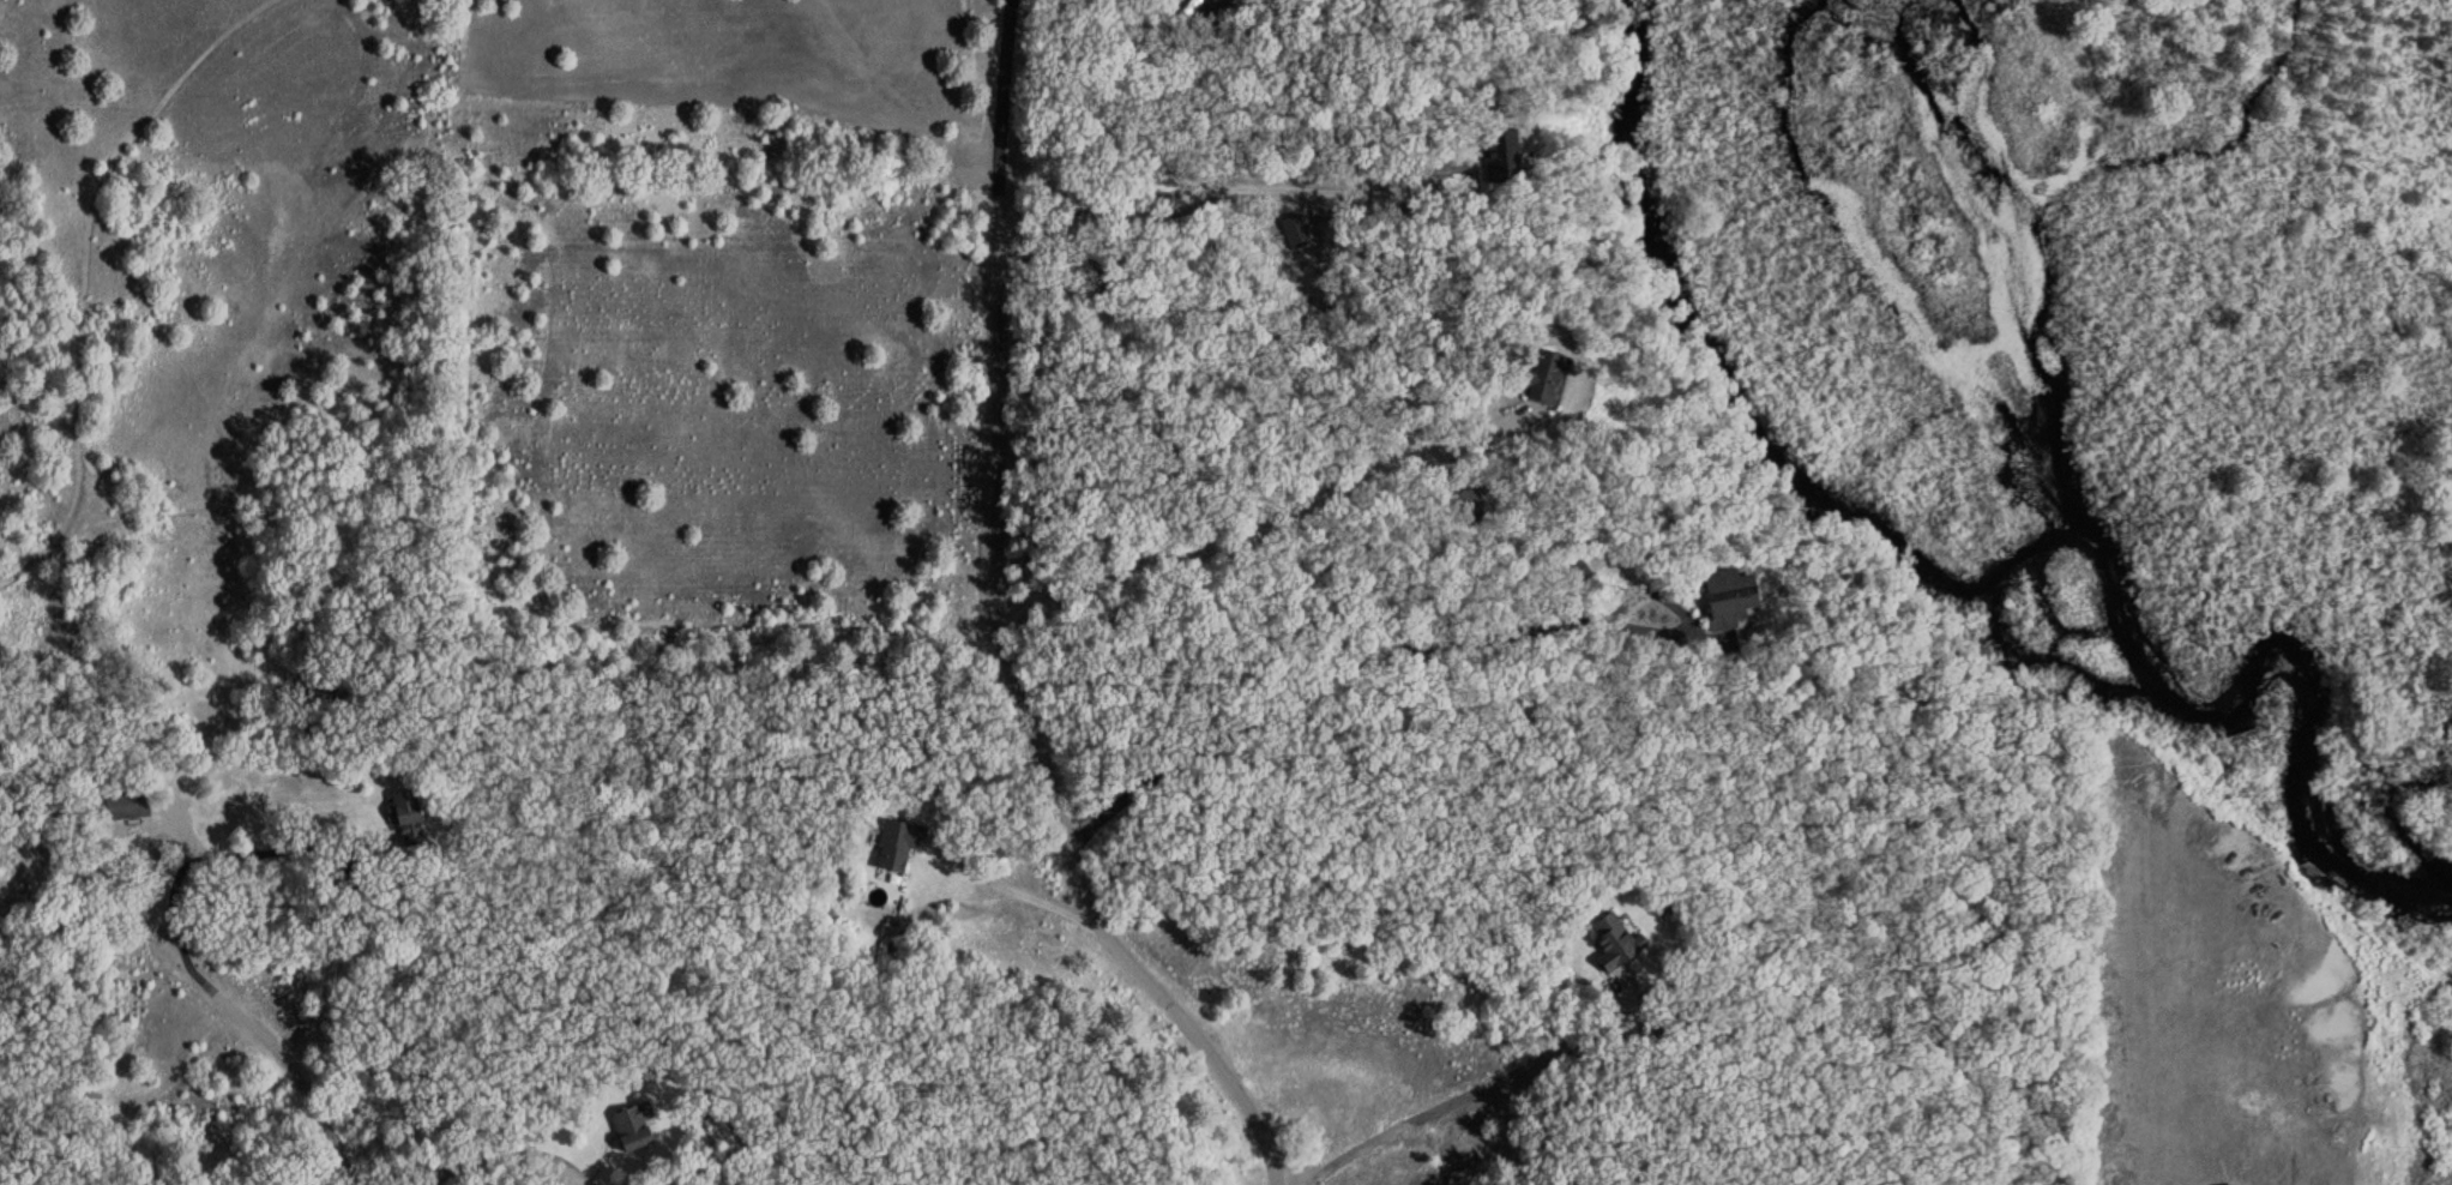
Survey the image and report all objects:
building: (1495, 155)
road: (1221, 179)
building: (1538, 375)
building: (1469, 504)
road: (1265, 523)
building: (1724, 594)
road: (999, 631)
road: (1403, 644)
building: (132, 805)
building: (409, 817)
building: (900, 846)
road: (1016, 891)
building: (1610, 942)
road: (242, 1018)
road: (1478, 1090)
building: (638, 1126)
road: (504, 1154)
building: (2233, 1184)

